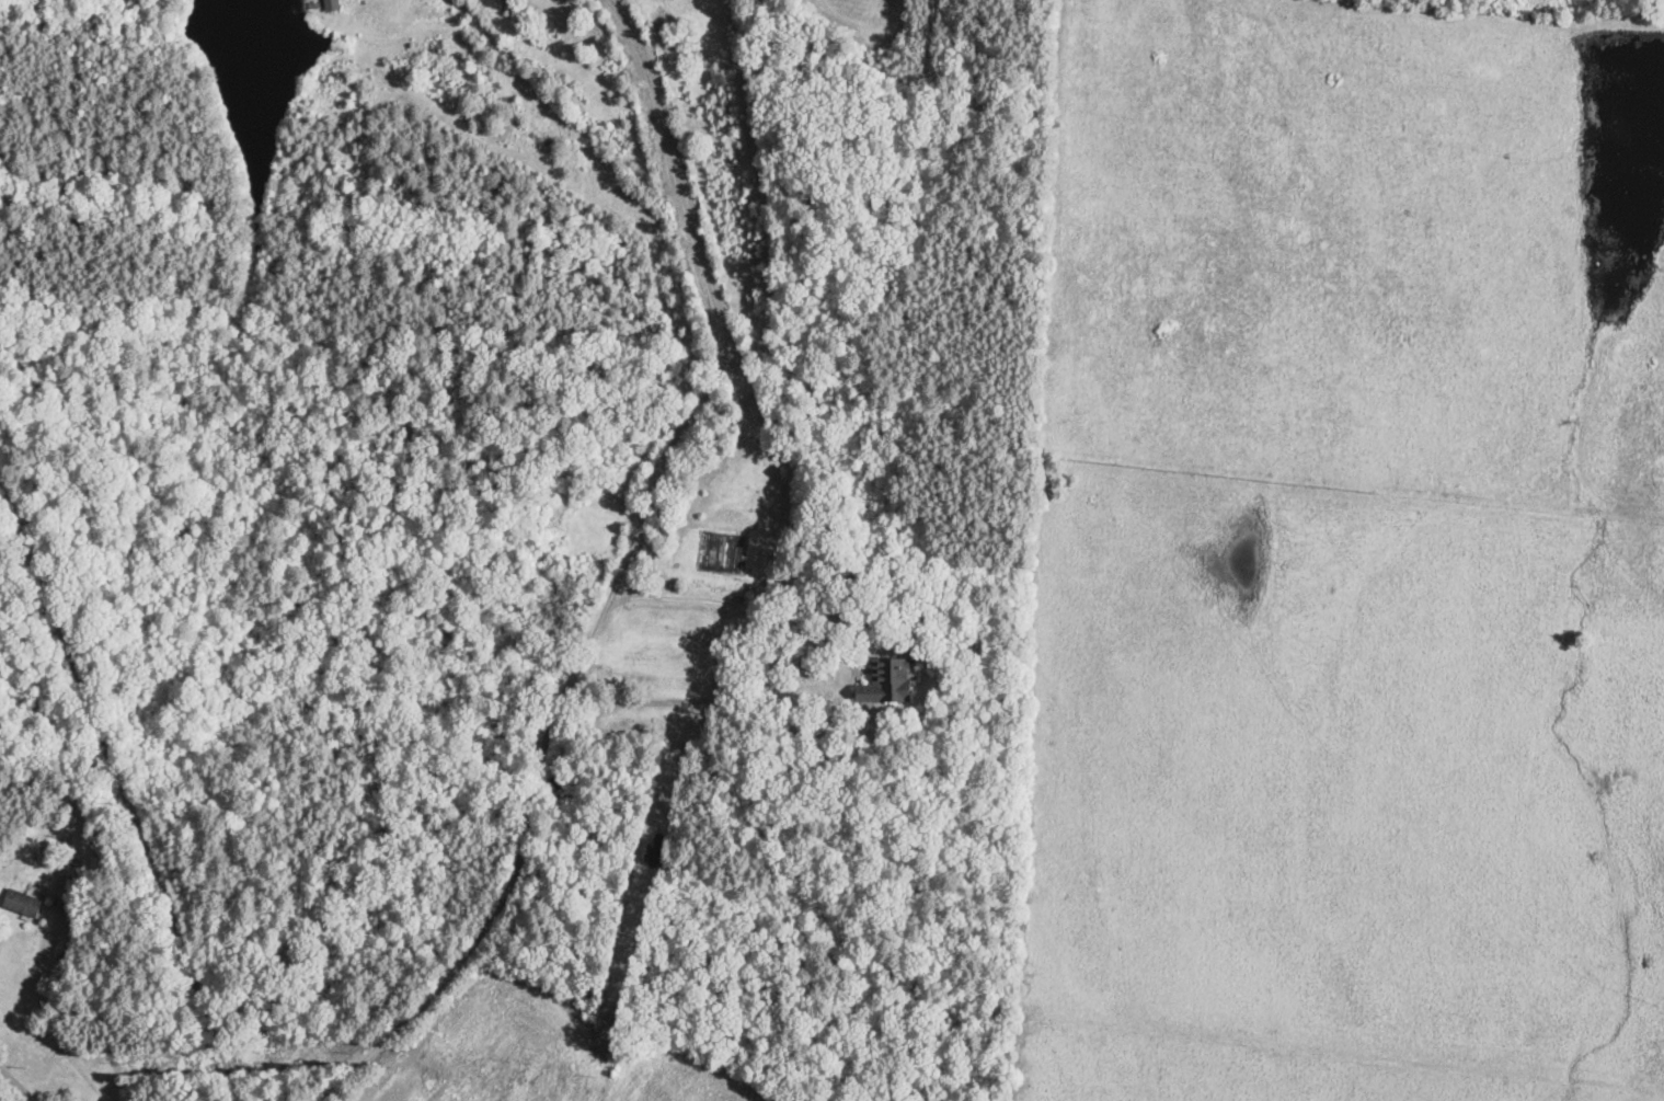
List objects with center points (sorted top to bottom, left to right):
building: (331, 5)
road: (619, 573)
road: (725, 601)
building: (887, 681)
road: (121, 784)
building: (69, 884)
building: (22, 903)
road: (48, 1013)
road: (18, 1085)

